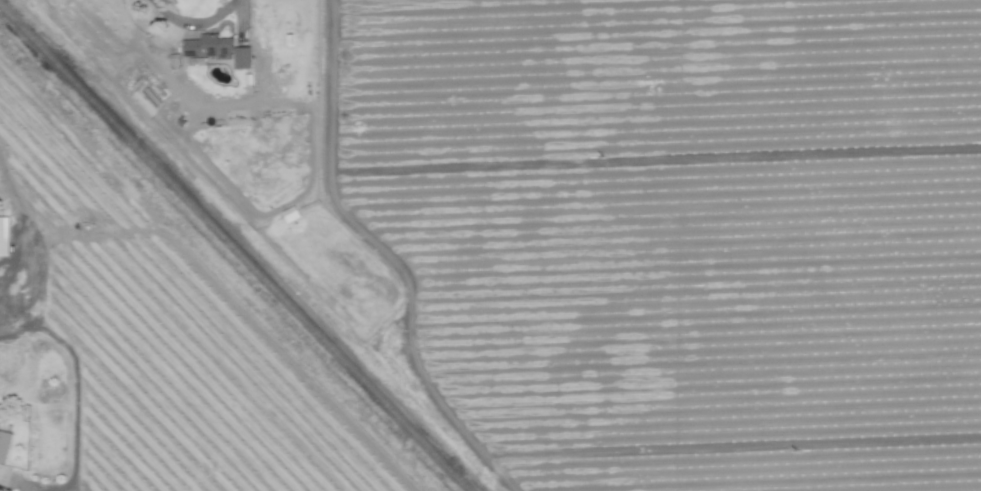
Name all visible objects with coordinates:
road: (194, 22)
building: (207, 46)
building: (241, 58)
building: (4, 236)
crop: (490, 245)
railway: (233, 249)
crop: (184, 258)
road: (77, 387)
building: (4, 445)

